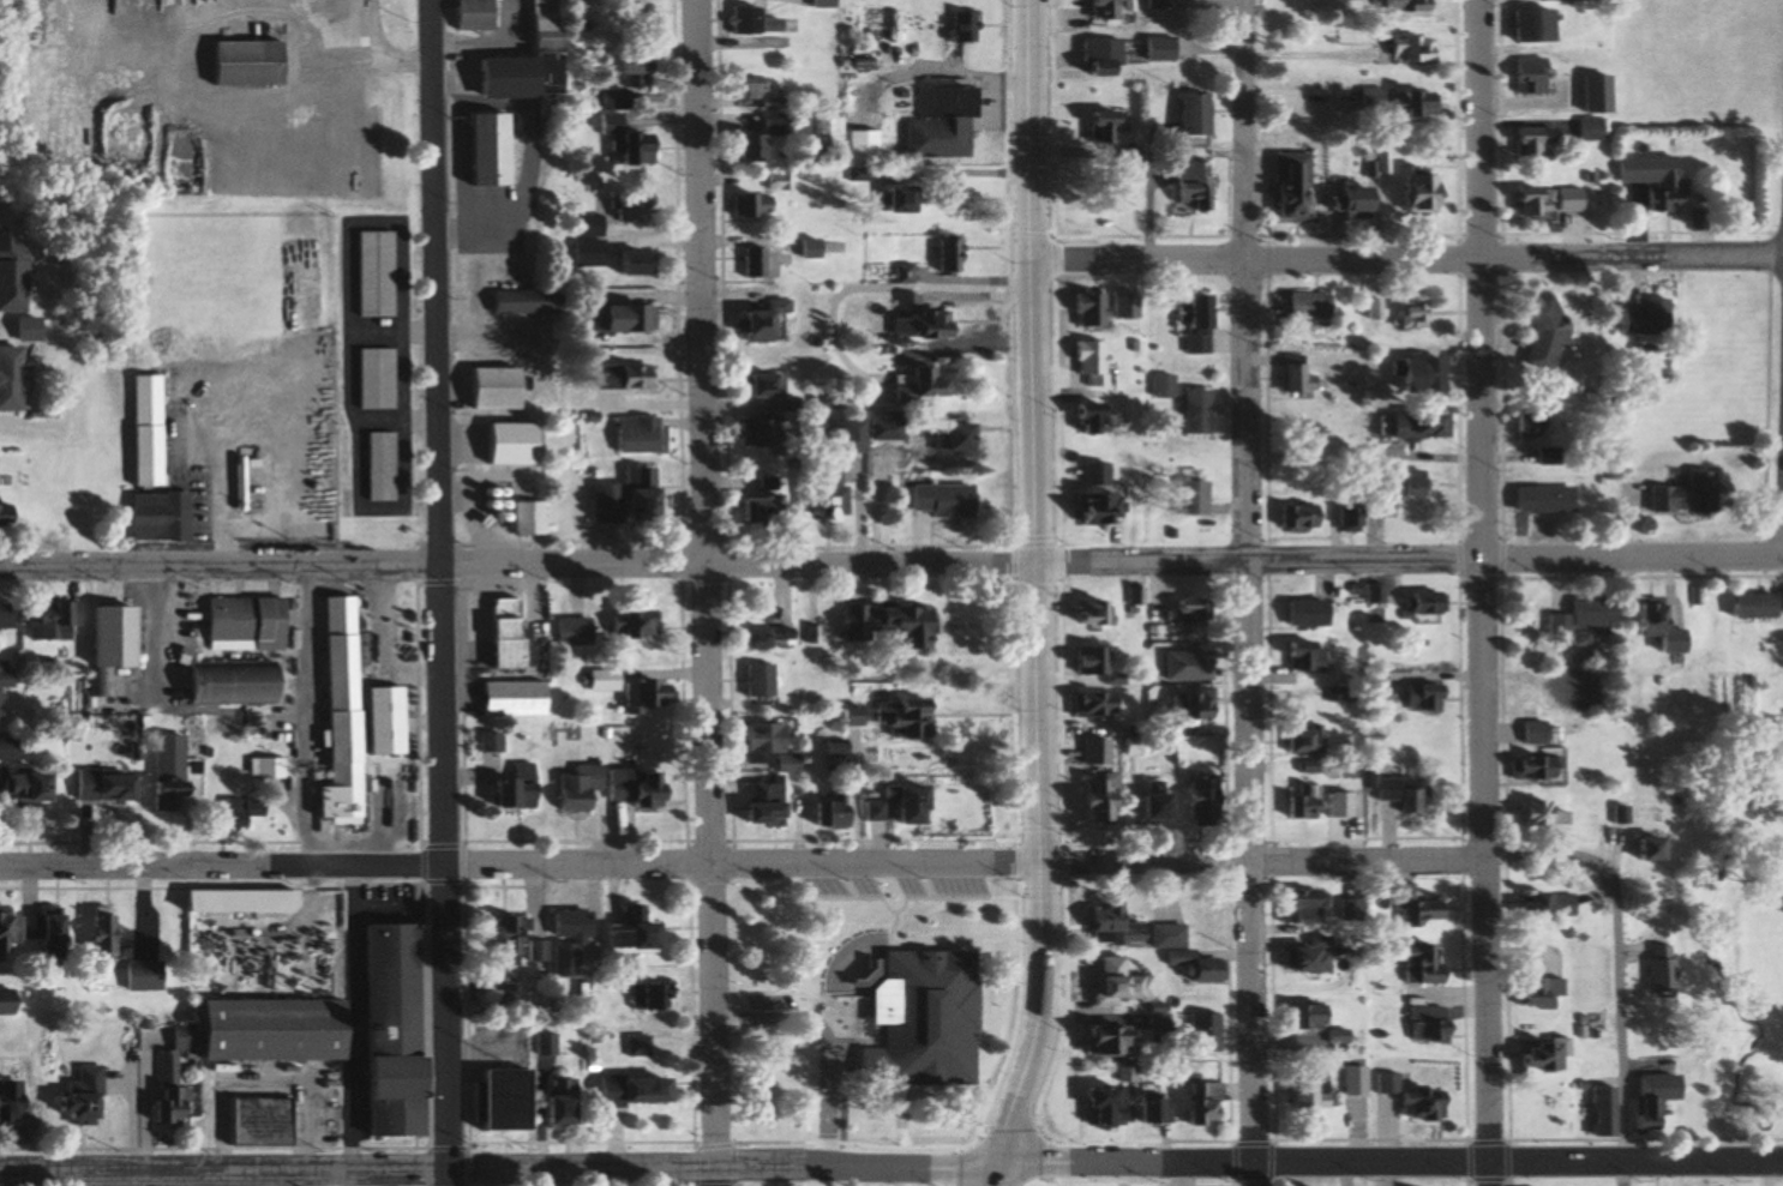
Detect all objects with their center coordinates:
building: (816, 4)
building: (1395, 7)
building: (1095, 8)
building: (470, 14)
building: (626, 16)
building: (539, 20)
building: (748, 23)
building: (1523, 26)
building: (957, 28)
building: (1154, 50)
building: (1403, 50)
building: (1094, 56)
building: (239, 64)
building: (624, 71)
building: (512, 77)
building: (1521, 82)
building: (743, 91)
building: (1587, 95)
building: (607, 101)
building: (937, 102)
building: (1407, 106)
building: (1187, 116)
building: (1099, 127)
building: (1584, 131)
building: (814, 139)
building: (933, 139)
building: (749, 142)
building: (623, 143)
building: (1525, 143)
building: (858, 146)
building: (478, 151)
building: (1647, 181)
building: (782, 183)
building: (1284, 187)
building: (1184, 188)
building: (1406, 192)
building: (891, 200)
building: (1341, 203)
building: (1538, 203)
building: (743, 206)
building: (626, 209)
building: (584, 227)
building: (803, 249)
road: (1407, 253)
building: (583, 254)
building: (947, 254)
building: (750, 264)
building: (626, 265)
building: (14, 273)
building: (370, 275)
building: (512, 303)
building: (1122, 306)
building: (1367, 309)
building: (1301, 311)
building: (1082, 312)
building: (1405, 313)
building: (1639, 318)
building: (616, 319)
building: (912, 320)
building: (755, 324)
building: (1194, 325)
building: (1533, 336)
building: (1086, 362)
building: (1410, 377)
building: (13, 379)
building: (1287, 379)
building: (370, 380)
building: (912, 386)
building: (1160, 386)
building: (634, 387)
building: (755, 387)
building: (488, 390)
building: (1190, 413)
building: (1083, 419)
building: (1523, 422)
building: (1406, 427)
building: (880, 428)
building: (140, 431)
road: (1037, 432)
building: (632, 435)
building: (750, 435)
building: (841, 437)
building: (943, 439)
building: (504, 445)
building: (1542, 457)
building: (376, 468)
building: (1089, 475)
building: (1405, 483)
building: (1676, 495)
building: (812, 496)
building: (1187, 498)
building: (617, 500)
building: (1536, 500)
building: (935, 501)
building: (1371, 501)
building: (1089, 510)
building: (750, 512)
building: (4, 514)
building: (151, 517)
building: (1346, 517)
building: (1293, 518)
building: (523, 519)
road: (1515, 555)
road: (1145, 556)
road: (520, 564)
road: (438, 592)
road: (707, 592)
road: (1249, 592)
building: (1371, 592)
road: (1479, 592)
building: (1133, 595)
building: (1748, 604)
building: (1418, 608)
building: (1184, 610)
building: (1088, 612)
building: (1302, 612)
building: (1, 618)
building: (1577, 618)
building: (47, 620)
building: (626, 622)
building: (239, 624)
building: (886, 624)
building: (1647, 624)
building: (566, 631)
building: (499, 632)
building: (104, 636)
building: (811, 636)
building: (761, 637)
building: (367, 655)
building: (1301, 655)
building: (1082, 660)
building: (1183, 666)
building: (754, 681)
building: (222, 682)
building: (634, 692)
building: (1338, 694)
building: (1418, 697)
building: (506, 698)
building: (1089, 704)
building: (1185, 704)
building: (332, 714)
building: (845, 715)
building: (897, 717)
building: (377, 720)
building: (1527, 733)
building: (1297, 740)
building: (484, 741)
building: (760, 746)
building: (6, 748)
building: (1093, 751)
building: (263, 767)
building: (1530, 769)
building: (163, 781)
building: (20, 787)
building: (97, 787)
building: (631, 787)
building: (509, 788)
building: (572, 789)
building: (1393, 794)
building: (1092, 797)
building: (1194, 800)
building: (1146, 801)
building: (757, 802)
building: (1297, 802)
building: (891, 803)
building: (1334, 805)
building: (826, 811)
building: (233, 812)
building: (1615, 814)
building: (1538, 818)
building: (1643, 847)
road: (1262, 857)
road: (521, 863)
building: (258, 901)
building: (1293, 905)
building: (1539, 905)
building: (1346, 910)
building: (1411, 910)
building: (1105, 926)
building: (36, 928)
building: (1, 929)
building: (623, 932)
building: (94, 934)
building: (498, 934)
building: (1161, 937)
building: (559, 944)
road: (1617, 953)
building: (1292, 958)
building: (1416, 963)
building: (1188, 967)
building: (1652, 968)
building: (137, 975)
building: (1106, 981)
building: (1531, 993)
building: (644, 997)
building: (5, 1001)
park: (872, 1012)
building: (1298, 1017)
building: (1591, 1021)
building: (1422, 1024)
road: (1040, 1029)
building: (383, 1031)
building: (1196, 1033)
building: (1331, 1036)
building: (1091, 1041)
building: (912, 1042)
road: (822, 1043)
building: (632, 1047)
building: (536, 1048)
building: (1533, 1055)
building: (1347, 1080)
building: (164, 1089)
building: (630, 1090)
building: (1301, 1091)
building: (74, 1098)
building: (1404, 1098)
building: (1646, 1098)
flagpole: (424, 1100)
building: (1, 1101)
building: (491, 1101)
building: (1194, 1102)
building: (551, 1103)
building: (1147, 1104)
building: (1093, 1106)
building: (1597, 1112)
building: (251, 1121)
road: (1506, 1138)
road: (540, 1143)
road: (1635, 1161)
road: (744, 1166)
road: (1622, 1173)

